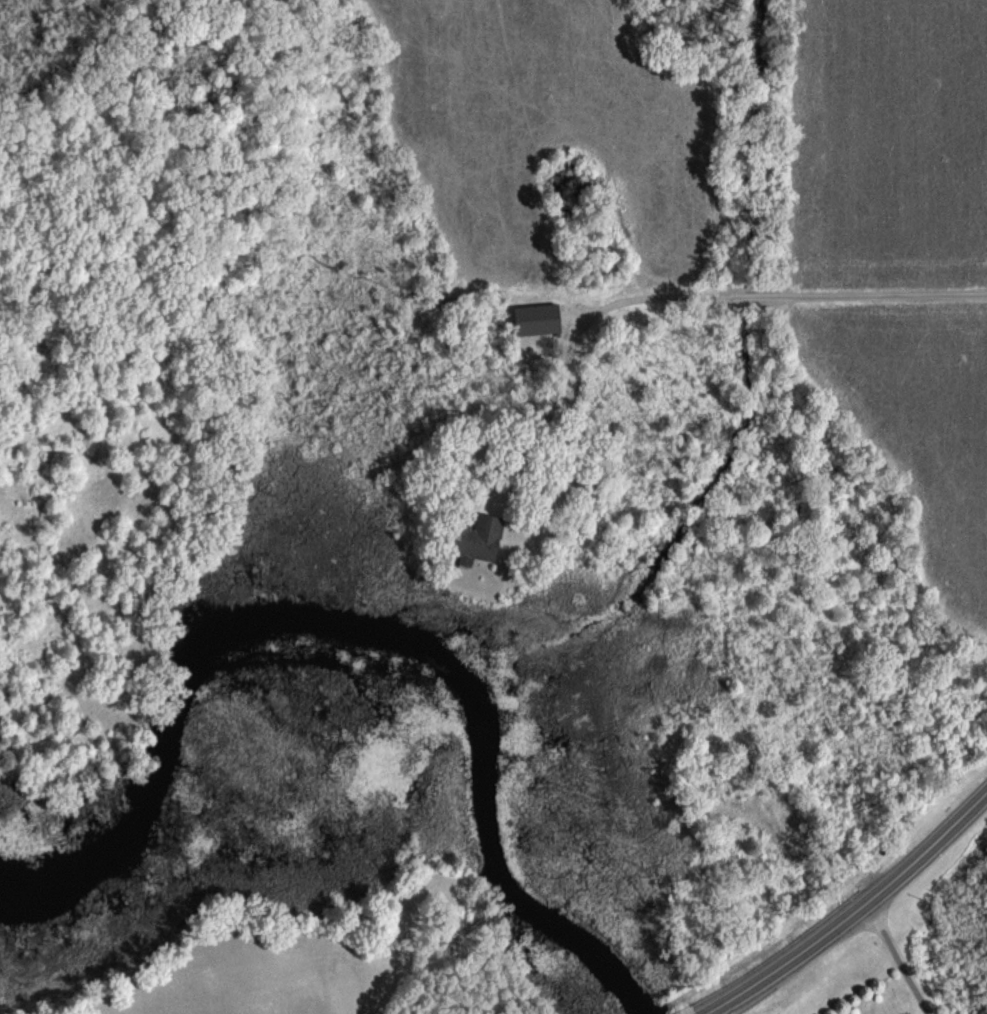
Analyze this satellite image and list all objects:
road: (679, 295)
building: (536, 321)
building: (477, 541)
river: (376, 660)
road: (855, 913)
road: (900, 958)

